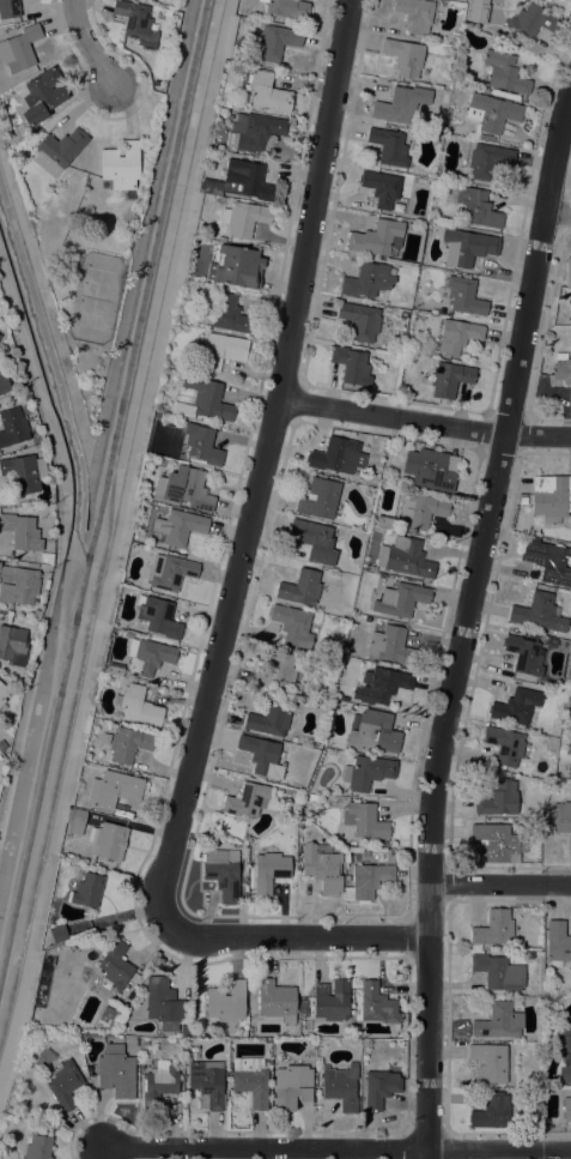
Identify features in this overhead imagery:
building: (8, 8)
building: (287, 8)
building: (498, 13)
building: (415, 14)
building: (134, 19)
building: (531, 22)
road: (85, 42)
building: (275, 42)
building: (19, 49)
building: (403, 56)
building: (504, 73)
building: (267, 92)
building: (41, 96)
building: (444, 98)
building: (401, 104)
building: (492, 113)
building: (226, 114)
building: (253, 132)
building: (486, 137)
building: (389, 146)
building: (60, 147)
building: (487, 161)
building: (120, 167)
building: (239, 181)
building: (381, 187)
building: (474, 206)
road: (557, 213)
building: (243, 218)
building: (377, 237)
building: (467, 247)
building: (237, 267)
building: (567, 273)
building: (366, 280)
building: (464, 296)
road: (43, 300)
park: (96, 300)
building: (227, 313)
building: (360, 320)
building: (457, 336)
building: (220, 350)
building: (351, 366)
building: (561, 369)
building: (449, 379)
building: (4, 384)
building: (26, 398)
building: (202, 400)
road: (424, 422)
building: (12, 427)
building: (201, 445)
building: (336, 455)
building: (159, 463)
road: (261, 467)
building: (433, 470)
building: (23, 473)
building: (183, 488)
building: (551, 497)
building: (318, 499)
building: (523, 501)
building: (420, 509)
building: (384, 523)
building: (516, 525)
building: (177, 527)
building: (20, 532)
road: (59, 542)
road: (119, 543)
building: (314, 543)
building: (44, 557)
building: (405, 557)
building: (548, 561)
building: (170, 572)
building: (44, 584)
building: (18, 585)
building: (300, 587)
building: (400, 599)
building: (537, 612)
building: (35, 615)
building: (157, 616)
road: (464, 617)
building: (292, 626)
building: (127, 635)
building: (12, 645)
building: (390, 646)
building: (147, 656)
building: (524, 656)
building: (111, 669)
building: (279, 674)
building: (381, 686)
building: (2, 693)
building: (136, 706)
building: (516, 706)
building: (269, 720)
building: (372, 732)
building: (127, 744)
building: (1, 745)
building: (504, 745)
building: (261, 755)
building: (366, 772)
building: (569, 772)
building: (114, 789)
building: (499, 799)
building: (247, 801)
building: (560, 817)
building: (364, 820)
building: (75, 821)
building: (108, 839)
building: (499, 844)
building: (67, 857)
building: (322, 865)
building: (268, 870)
building: (221, 874)
building: (369, 881)
road: (499, 883)
building: (86, 891)
building: (493, 928)
building: (57, 934)
road: (298, 937)
building: (558, 943)
building: (115, 965)
building: (498, 972)
building: (332, 1000)
building: (225, 1001)
building: (275, 1001)
building: (163, 1003)
building: (377, 1004)
building: (303, 1009)
building: (499, 1020)
building: (186, 1030)
building: (564, 1055)
building: (488, 1062)
building: (116, 1073)
building: (250, 1080)
building: (159, 1082)
building: (207, 1082)
building: (63, 1085)
building: (291, 1086)
building: (340, 1086)
building: (379, 1088)
building: (566, 1109)
building: (492, 1112)
building: (37, 1147)
road: (338, 1148)

